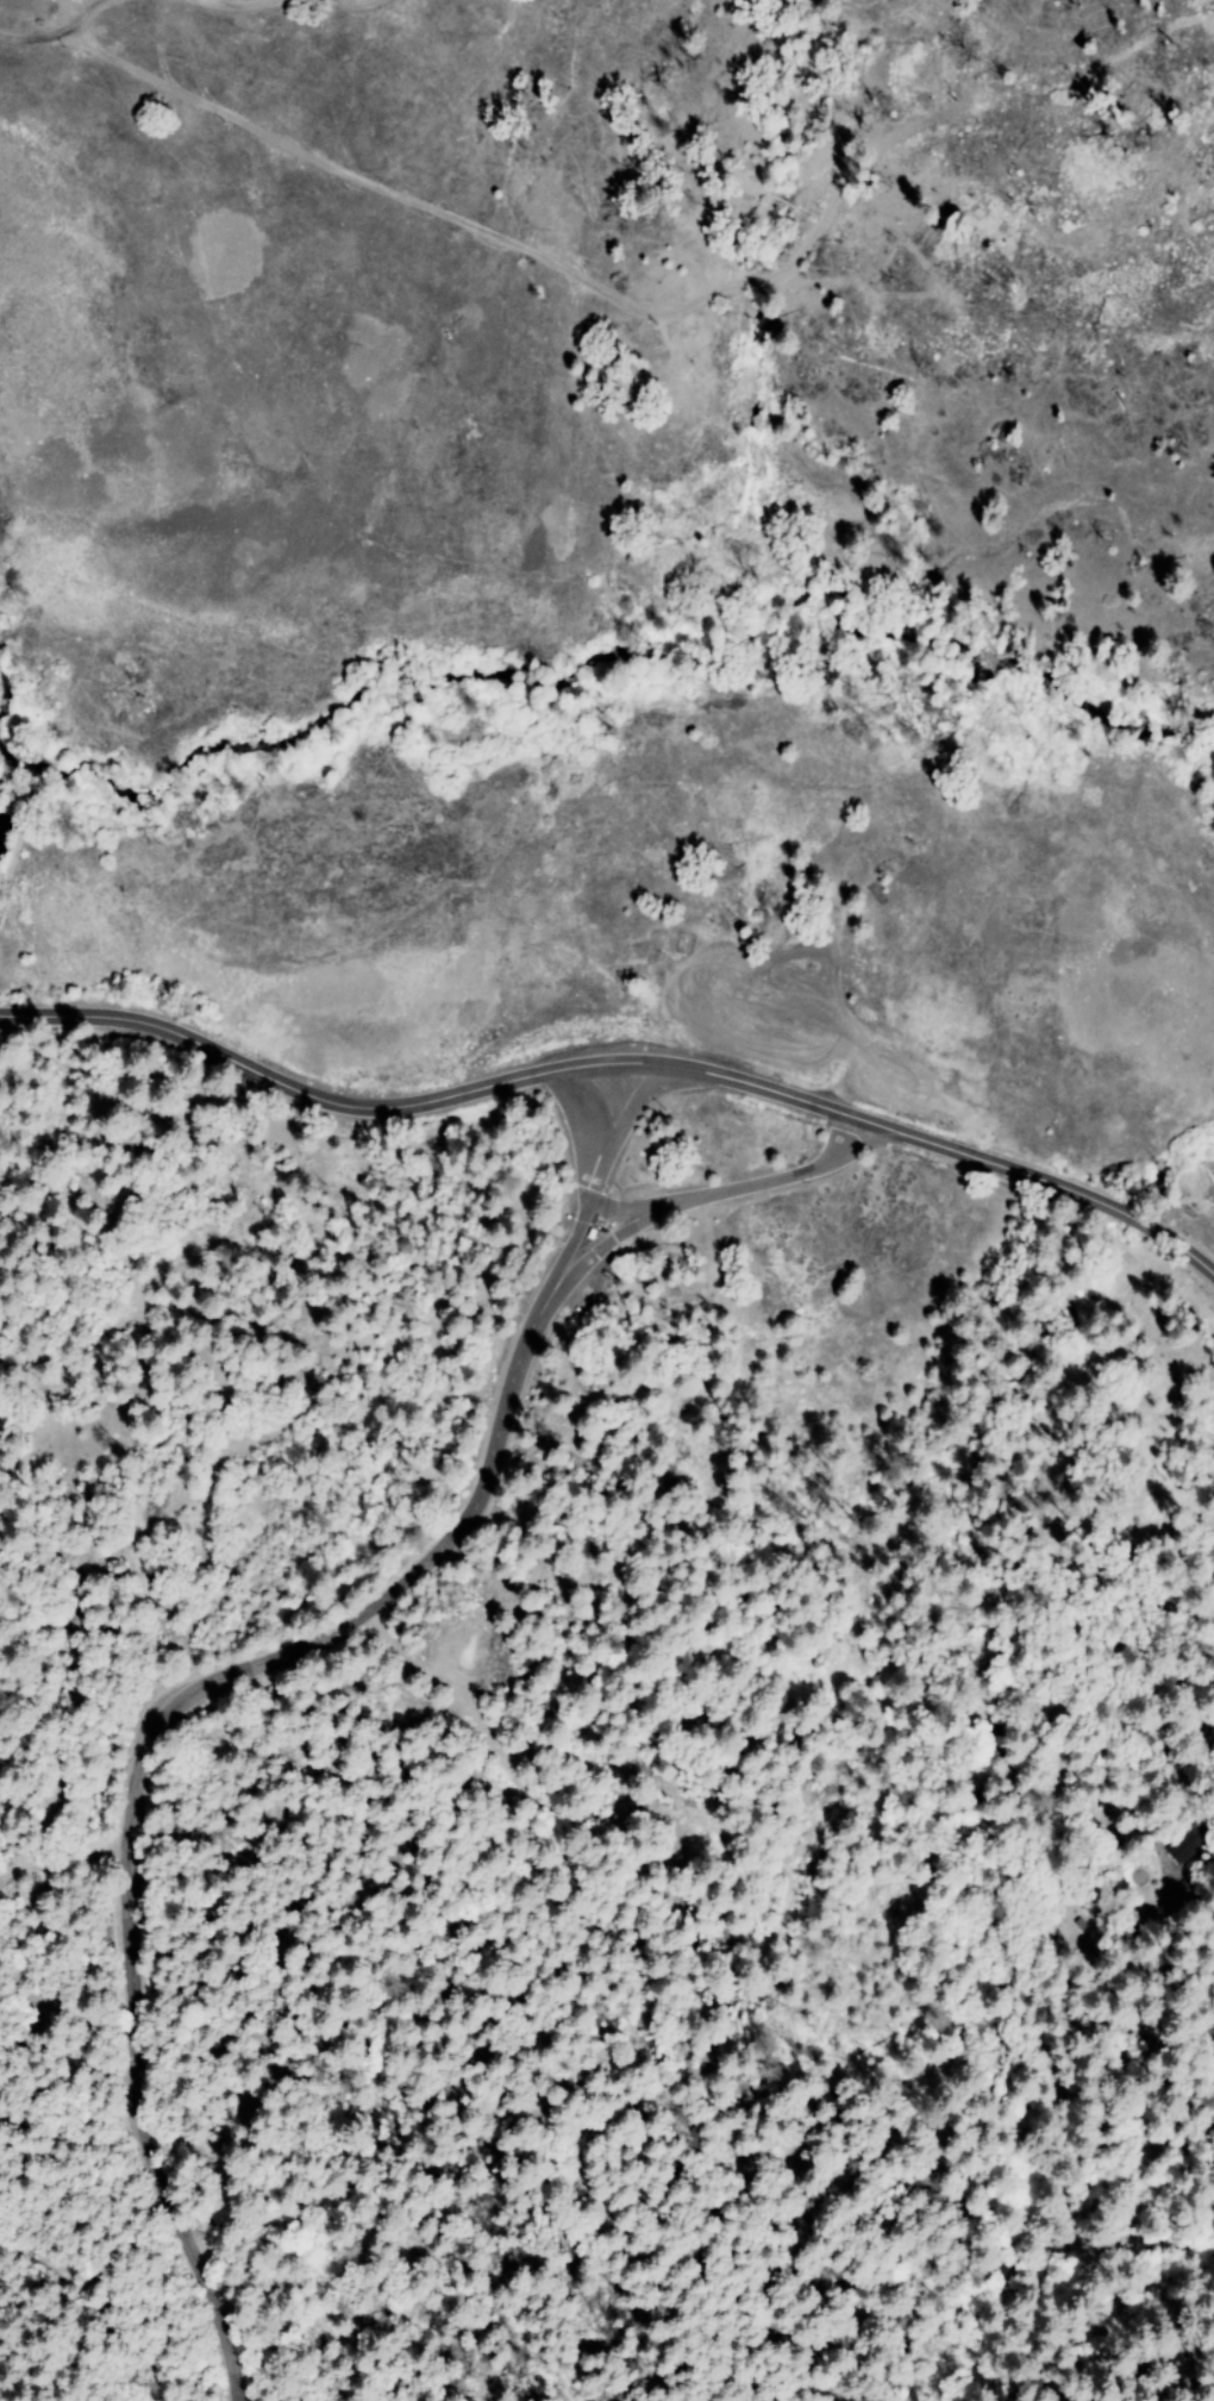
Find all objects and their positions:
road: (294, 1)
road: (56, 32)
road: (615, 1063)
road: (737, 1188)
road: (223, 1671)
road: (1120, 1693)
building: (1188, 1844)
building: (1174, 1899)

